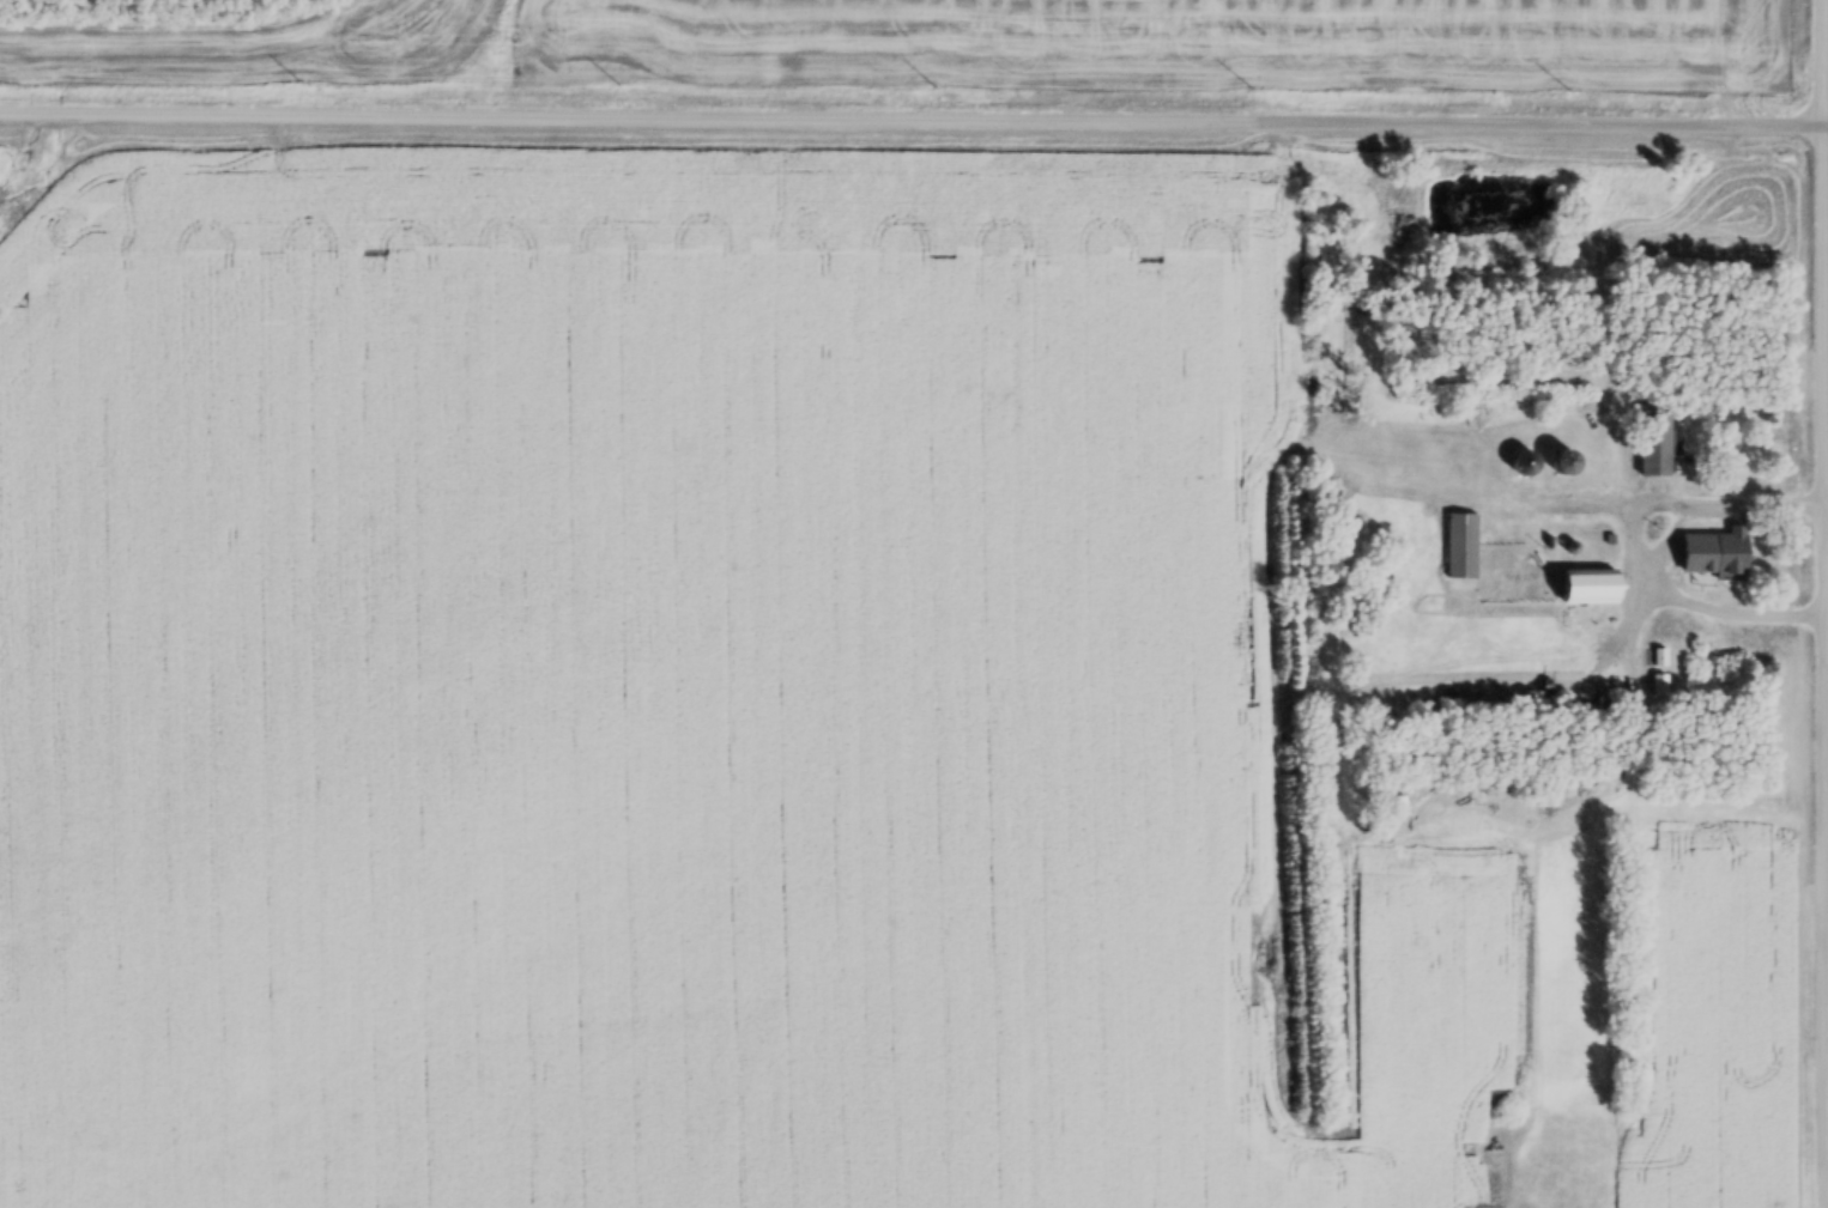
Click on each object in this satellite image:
road: (912, 116)
road: (1826, 123)
building: (1657, 447)
road: (1826, 461)
building: (1591, 463)
building: (1525, 468)
road: (1630, 536)
building: (1463, 550)
building: (1735, 559)
building: (1593, 590)

